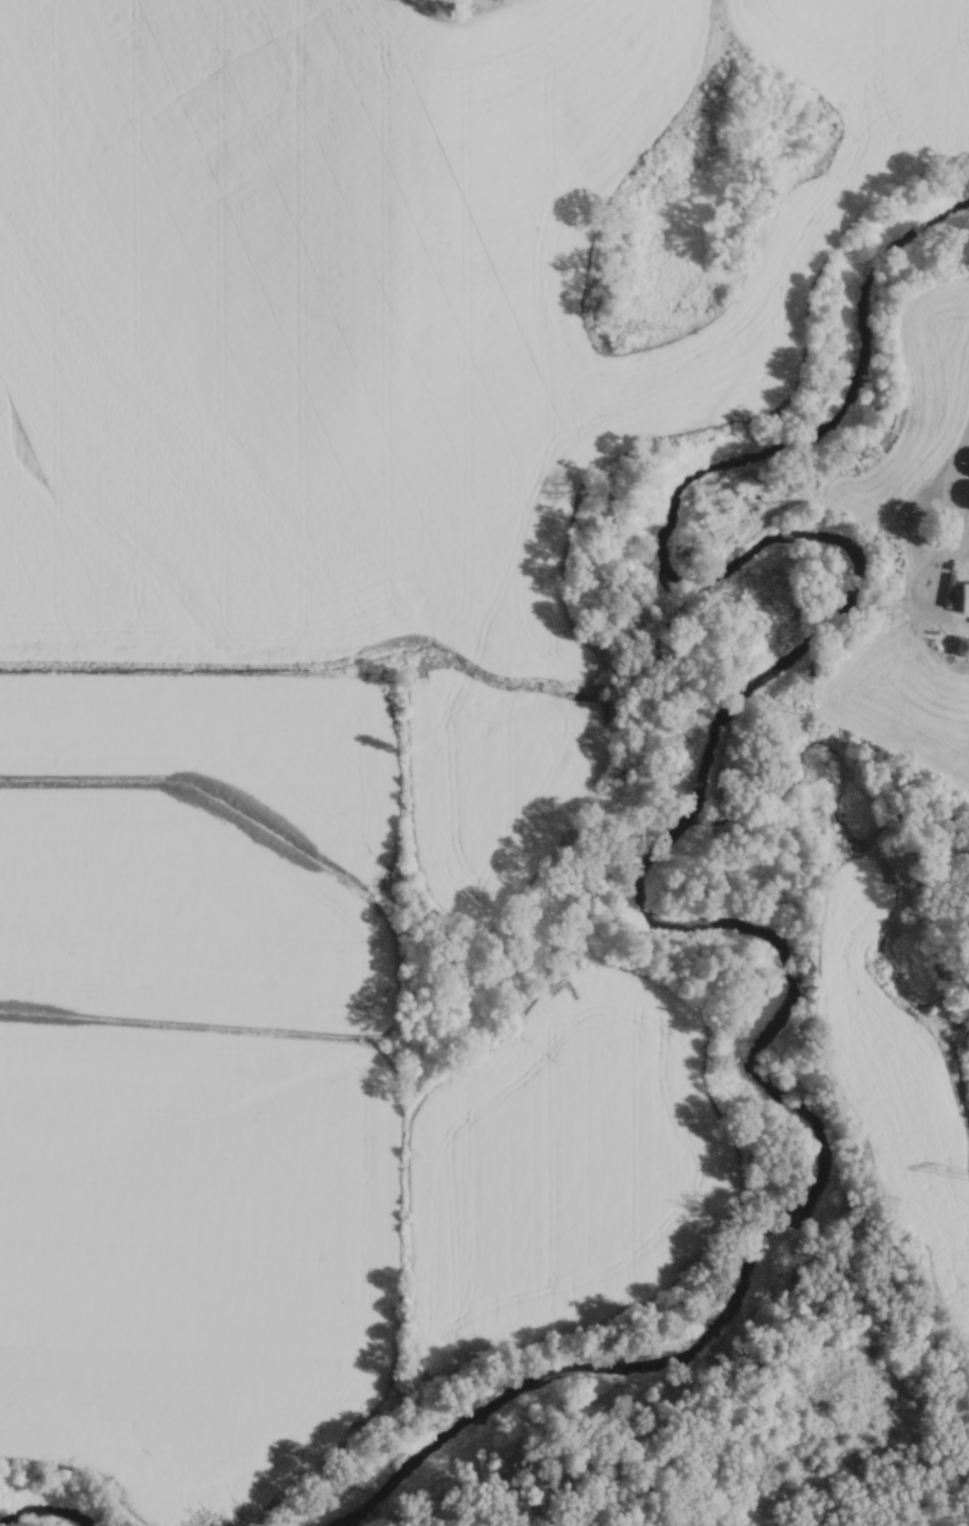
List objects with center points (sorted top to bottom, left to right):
power tower: (659, 323)
road: (953, 520)
building: (961, 551)
building: (915, 587)
building: (964, 645)
building: (935, 650)
power tower: (795, 708)

